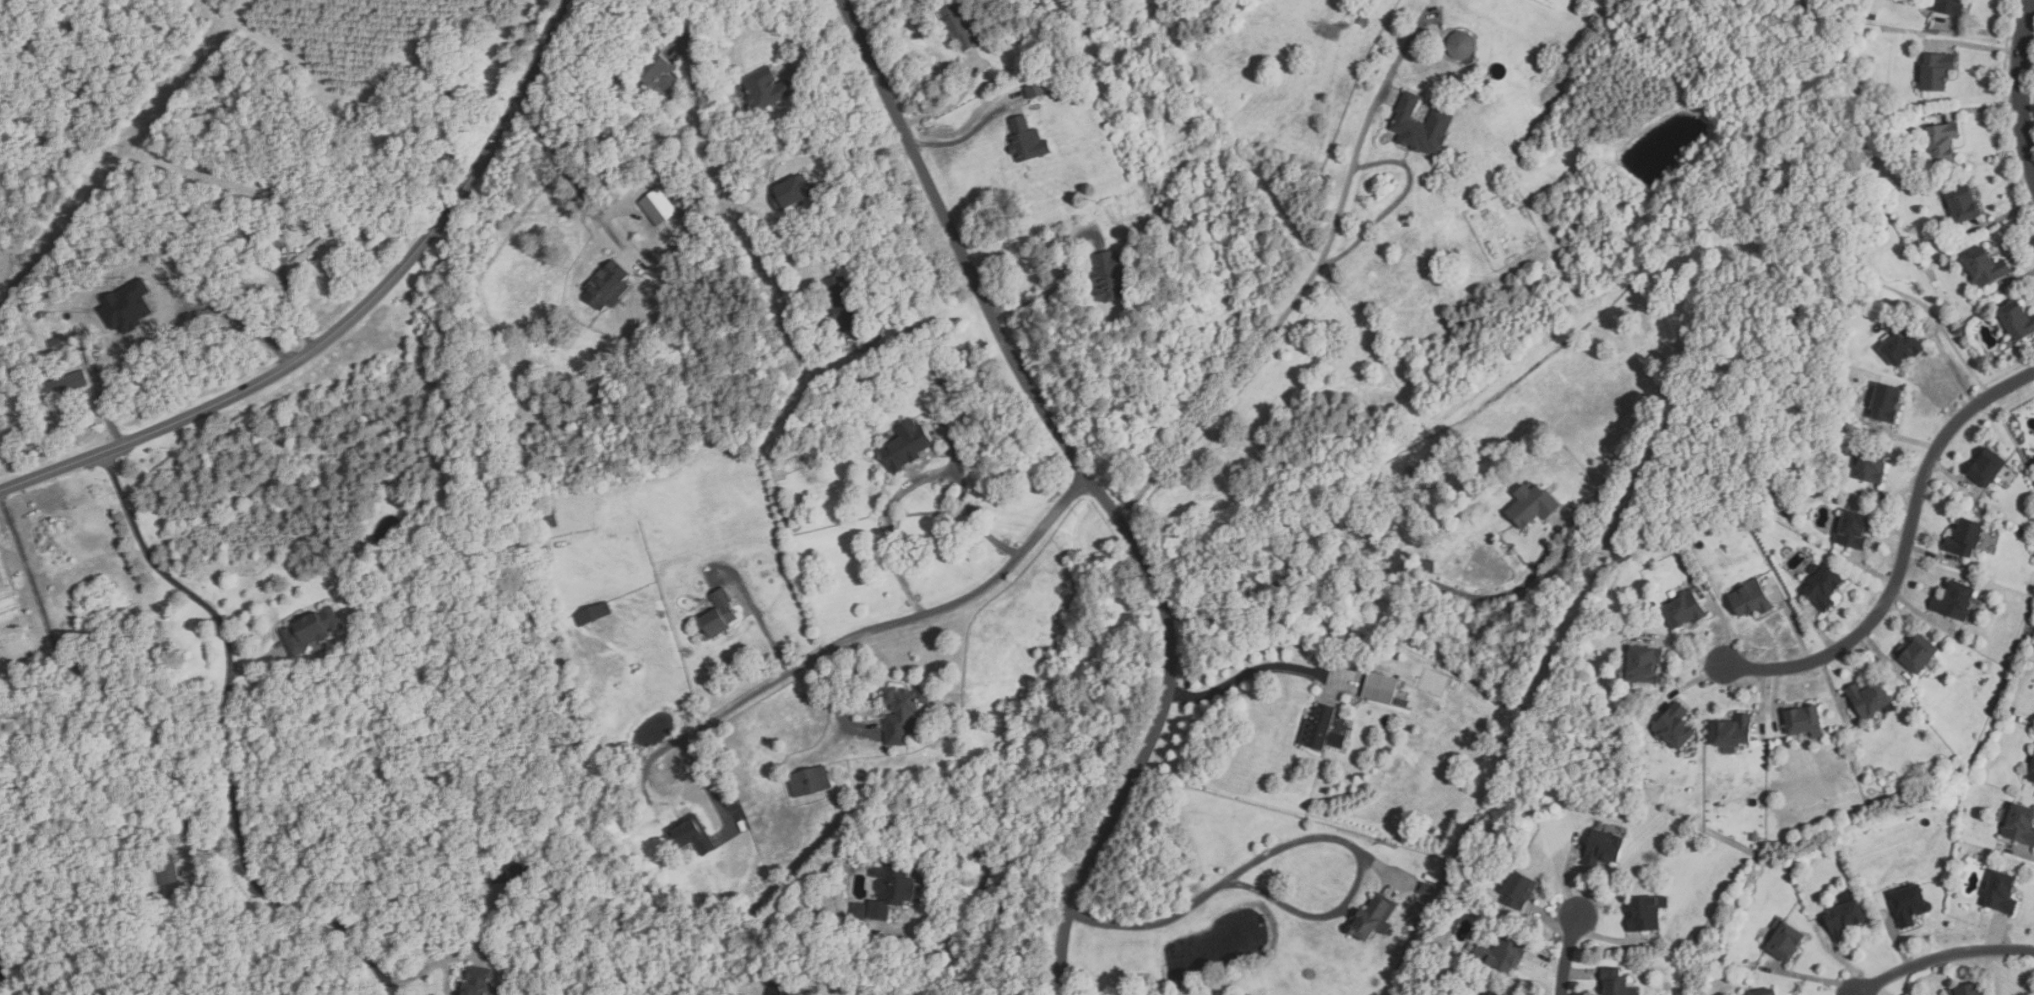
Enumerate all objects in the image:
building: (1949, 7)
building: (1362, 20)
building: (958, 23)
road: (670, 24)
road: (812, 40)
building: (1462, 45)
building: (658, 71)
building: (1936, 71)
road: (2021, 84)
building: (766, 89)
building: (1037, 91)
road: (1376, 103)
road: (947, 107)
building: (1421, 125)
building: (1027, 141)
road: (956, 142)
building: (1942, 143)
road: (843, 149)
road: (569, 176)
building: (792, 192)
building: (1963, 204)
building: (658, 207)
river: (1222, 221)
building: (258, 223)
building: (309, 252)
building: (1984, 268)
building: (1109, 277)
road: (1312, 279)
road: (1055, 283)
building: (608, 287)
road: (909, 289)
building: (842, 302)
building: (126, 306)
road: (293, 308)
road: (353, 320)
building: (2017, 321)
building: (87, 345)
building: (1902, 347)
building: (832, 348)
building: (943, 381)
building: (66, 385)
road: (103, 404)
building: (1885, 404)
building: (906, 447)
building: (1872, 462)
building: (1987, 468)
road: (911, 484)
road: (1096, 487)
building: (1532, 506)
building: (552, 520)
building: (1853, 530)
building: (1965, 539)
road: (1904, 557)
road: (1376, 578)
building: (1824, 586)
building: (1750, 599)
building: (1955, 601)
building: (1684, 611)
building: (719, 614)
road: (758, 614)
building: (593, 615)
building: (311, 632)
building: (1918, 653)
road: (820, 654)
building: (1643, 665)
road: (1247, 670)
road: (93, 679)
building: (1380, 688)
building: (871, 696)
building: (1870, 699)
road: (838, 700)
building: (1403, 703)
building: (903, 713)
building: (1805, 722)
building: (1674, 728)
building: (1319, 729)
building: (1732, 734)
building: (2032, 773)
road: (235, 779)
building: (810, 783)
road: (710, 797)
building: (2020, 824)
building: (140, 827)
building: (694, 837)
road: (1298, 840)
building: (1603, 848)
building: (210, 868)
building: (167, 870)
building: (514, 873)
building: (1432, 878)
building: (200, 881)
building: (1427, 889)
building: (891, 890)
building: (1519, 892)
building: (2001, 893)
building: (450, 897)
road: (975, 901)
building: (1909, 905)
building: (861, 911)
building: (1646, 913)
building: (1373, 919)
building: (1845, 920)
building: (1785, 942)
building: (1502, 954)
road: (1569, 955)
road: (1941, 959)
building: (480, 981)
building: (1615, 982)
building: (1966, 990)
building: (1762, 992)
building: (1493, 994)

